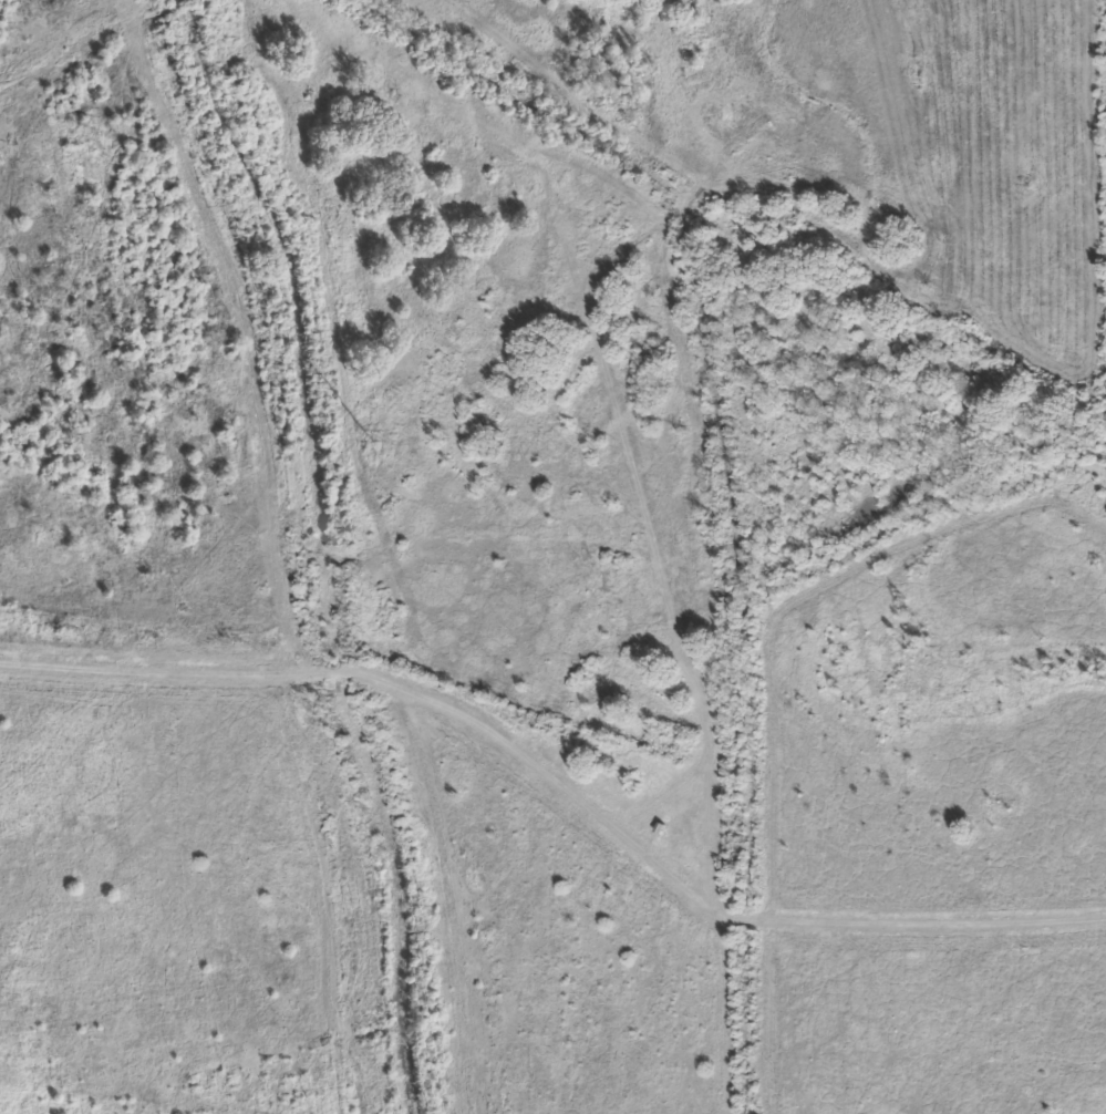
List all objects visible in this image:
power tower: (366, 433)
road: (374, 664)

